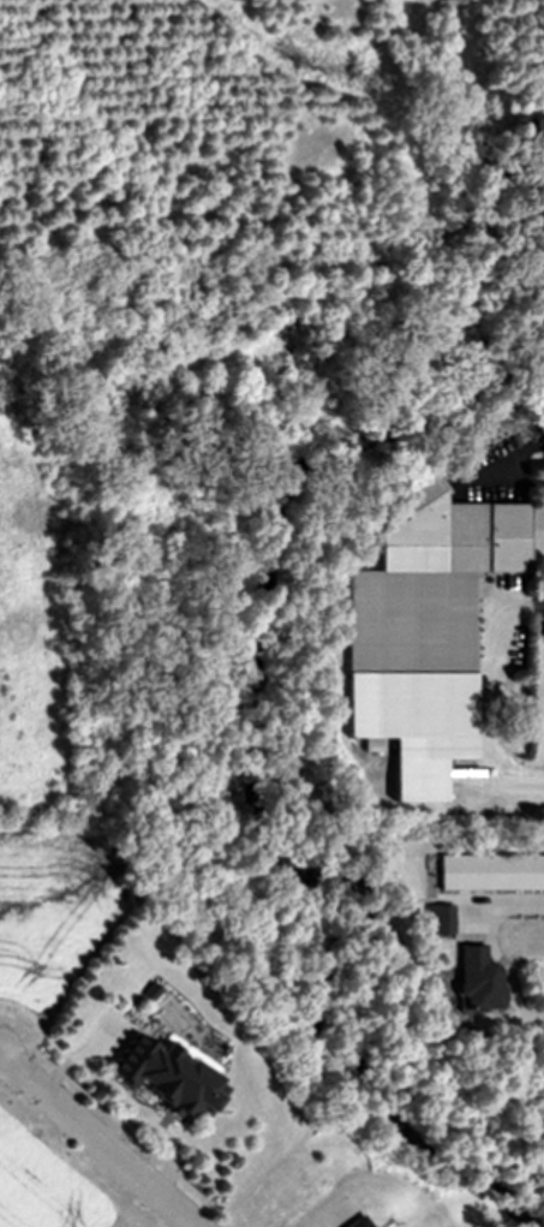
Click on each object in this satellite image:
road: (518, 478)
building: (422, 630)
road: (491, 695)
building: (490, 875)
building: (436, 922)
road: (495, 951)
building: (474, 982)
building: (161, 1080)
road: (97, 1140)
building: (355, 1223)

